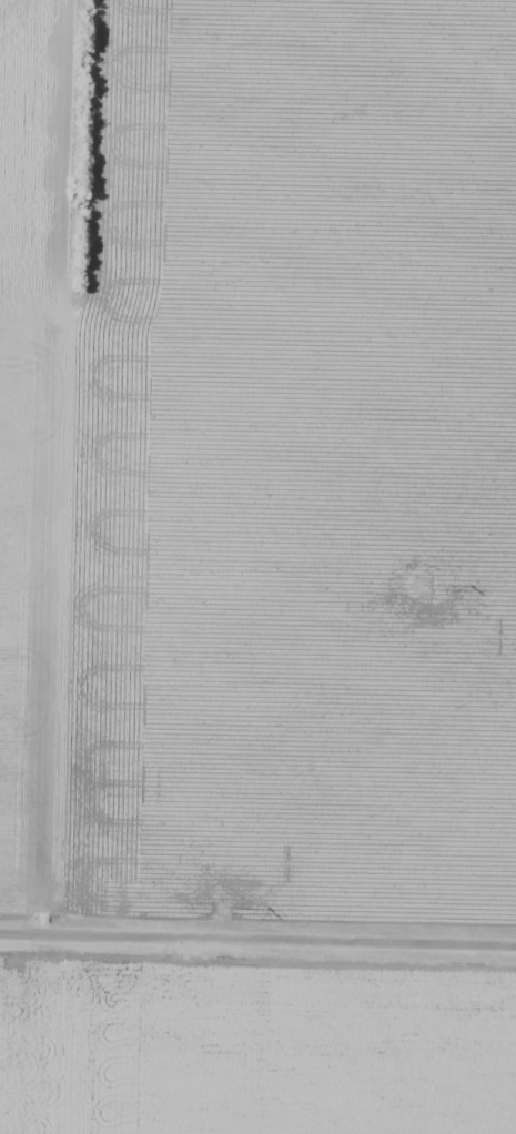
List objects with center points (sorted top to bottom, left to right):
power tower: (423, 588)
power tower: (226, 911)
road: (257, 933)

